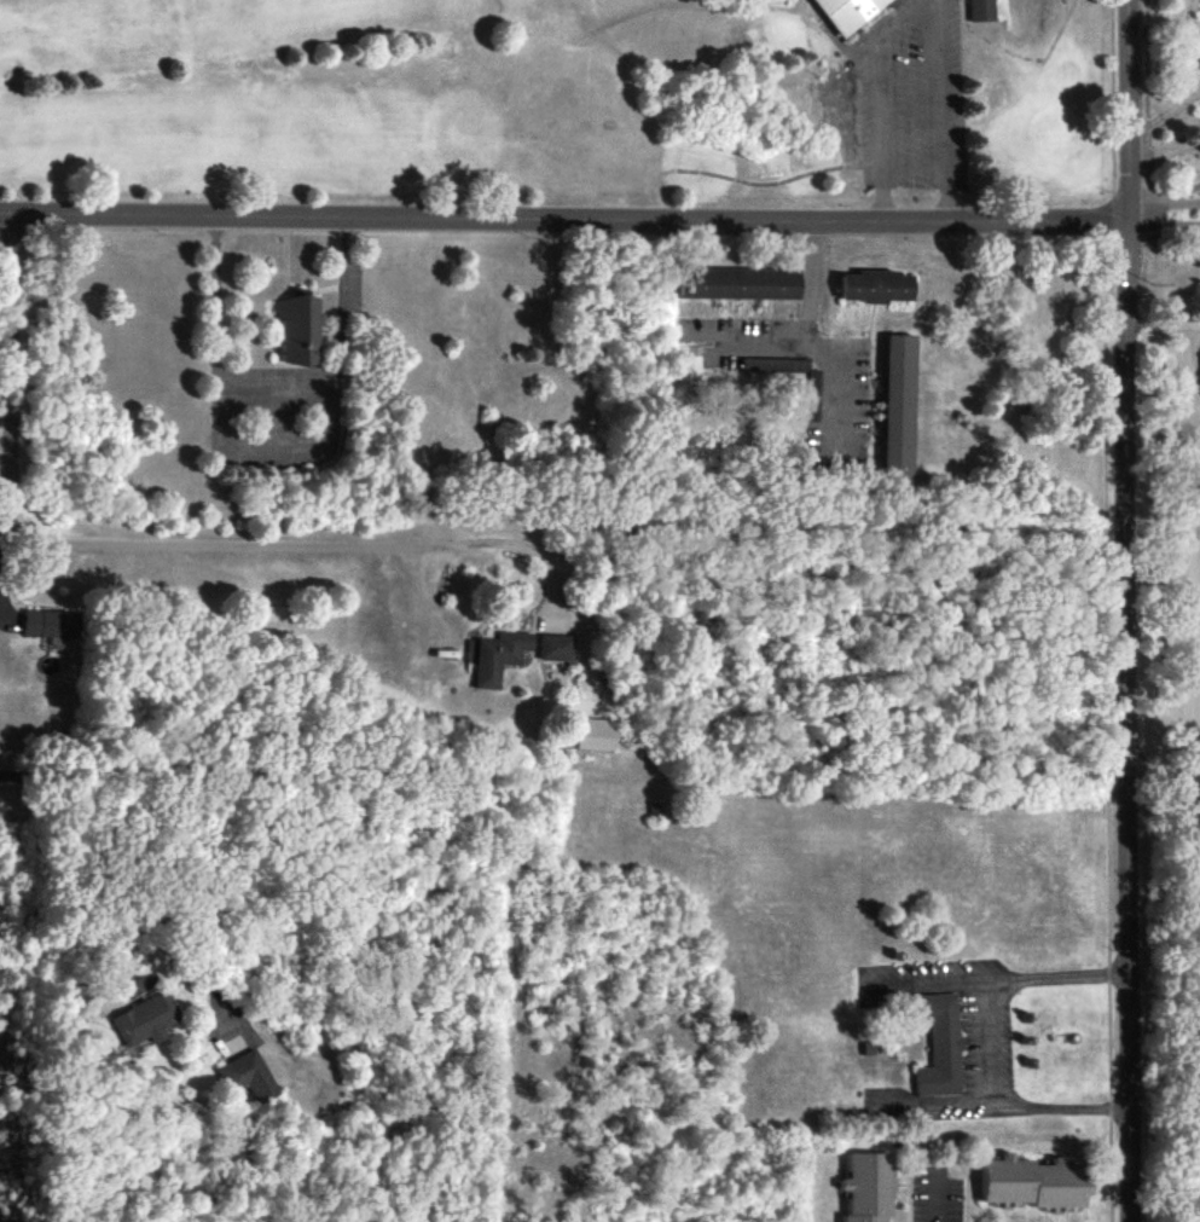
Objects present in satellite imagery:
building: (981, 6)
road: (918, 11)
building: (834, 16)
parking lot: (902, 94)
park: (556, 98)
parking lot: (902, 105)
road: (1165, 111)
park: (1171, 114)
road: (1164, 157)
road: (1187, 196)
road: (1163, 205)
road: (564, 218)
road: (1164, 224)
building: (740, 283)
building: (877, 286)
building: (292, 331)
road: (811, 341)
building: (691, 361)
road: (10, 378)
road: (841, 382)
road: (277, 395)
building: (900, 410)
road: (321, 544)
road: (1119, 610)
park: (1167, 622)
building: (52, 624)
building: (557, 648)
building: (500, 656)
building: (596, 739)
road: (132, 870)
road: (95, 902)
building: (145, 1023)
building: (939, 1044)
road: (987, 1048)
building: (243, 1072)
building: (1032, 1185)
building: (866, 1188)
road: (939, 1199)

